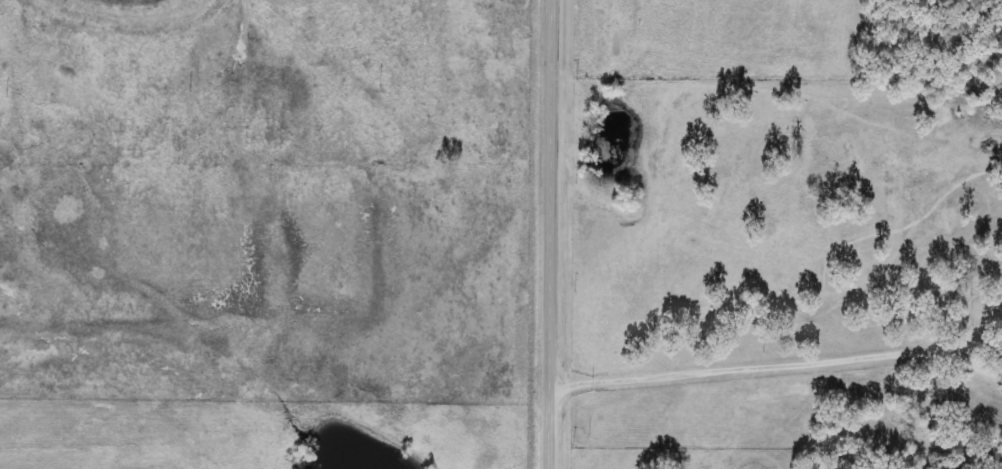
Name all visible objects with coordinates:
road: (545, 234)
road: (776, 359)

